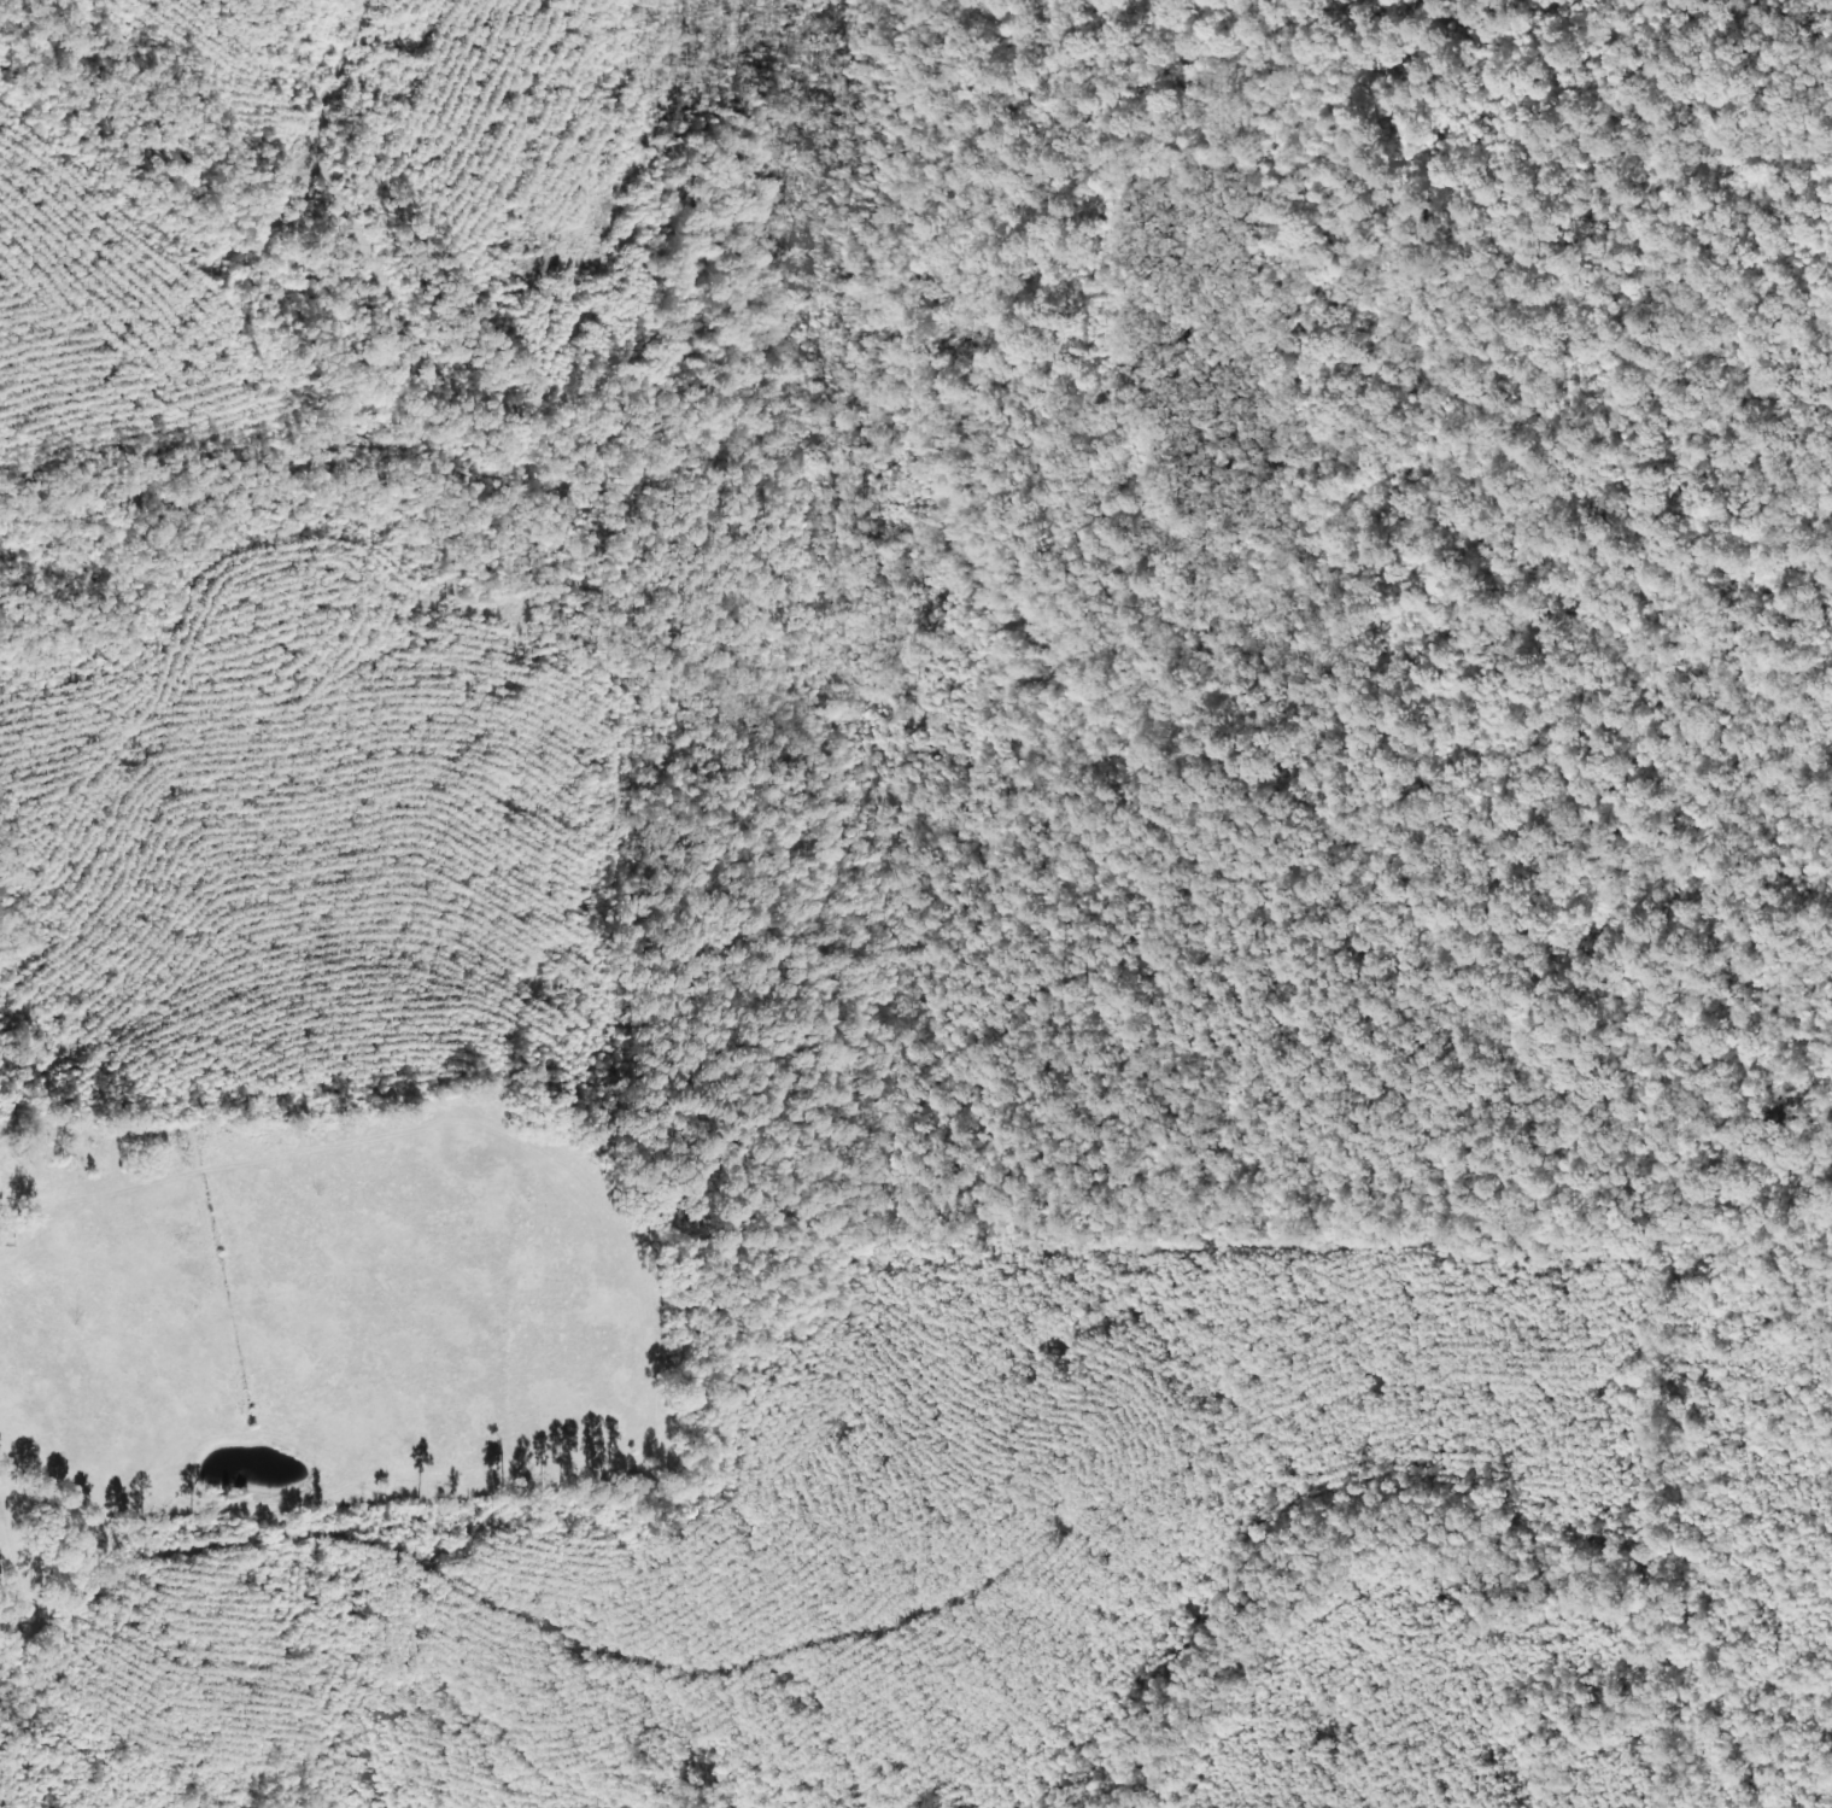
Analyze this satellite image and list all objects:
road: (18, 103)
road: (11, 323)

